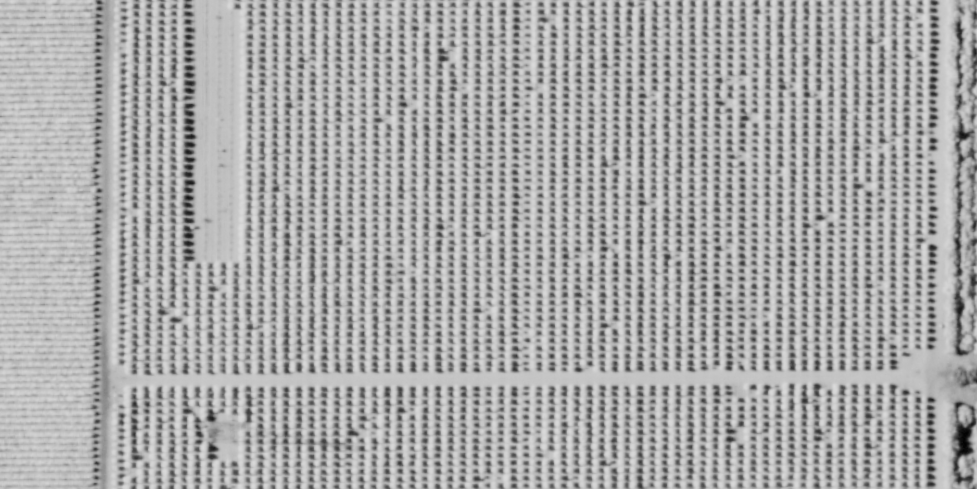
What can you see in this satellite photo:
power tower: (222, 430)

